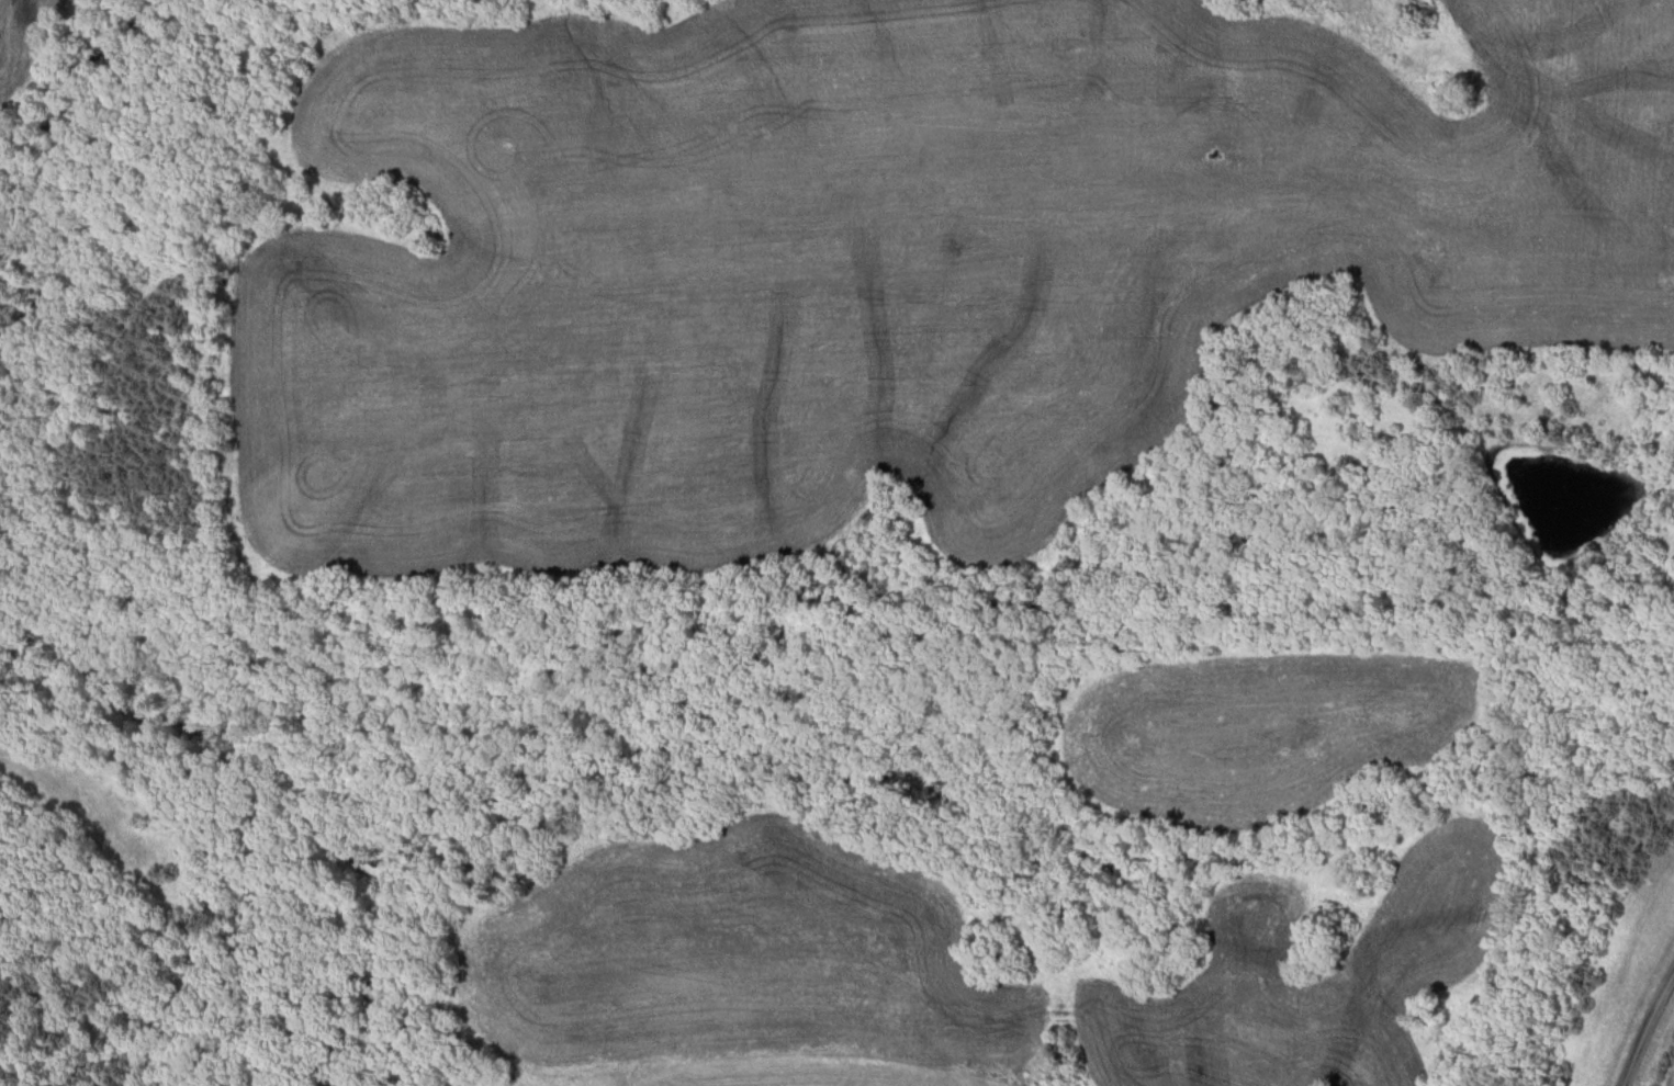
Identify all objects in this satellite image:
road: (1406, 748)
road: (1645, 1028)

